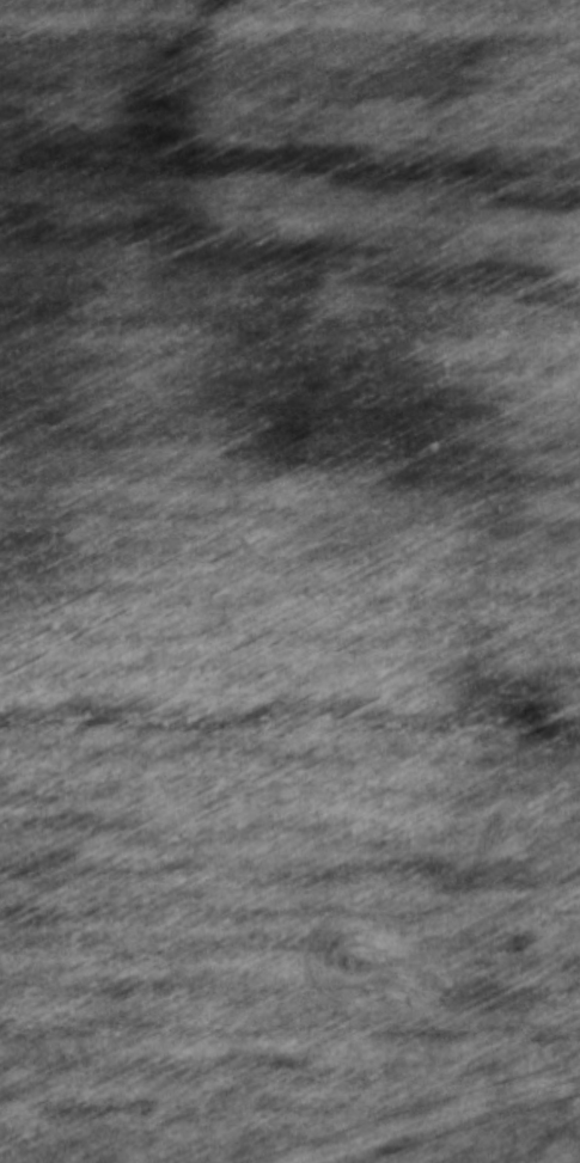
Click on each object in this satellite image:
crop: (289, 580)

